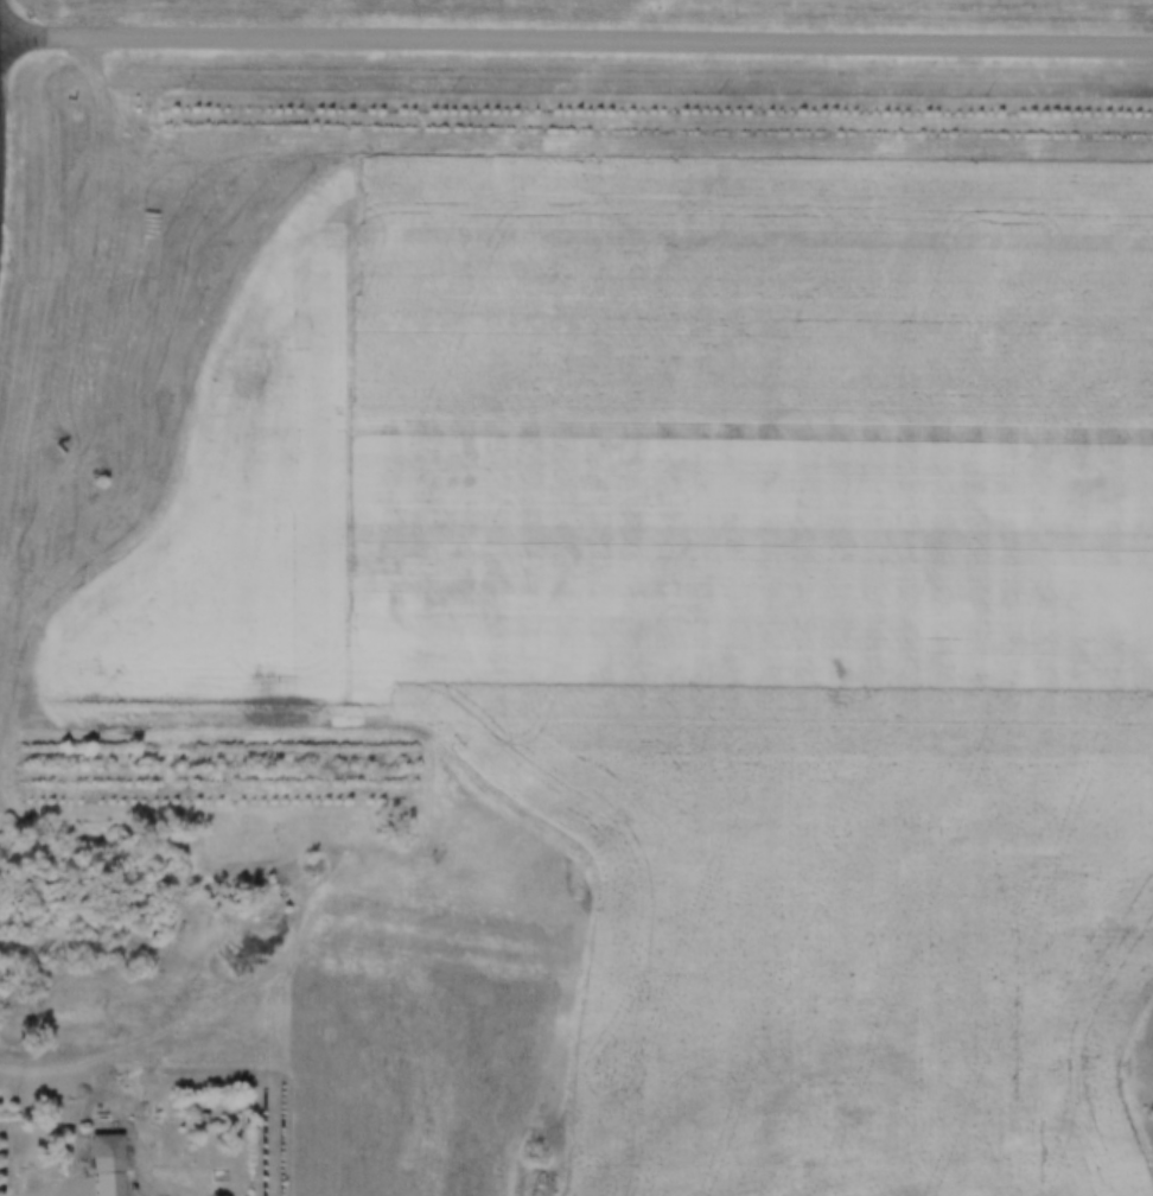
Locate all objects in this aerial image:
road: (575, 34)
building: (113, 1154)

